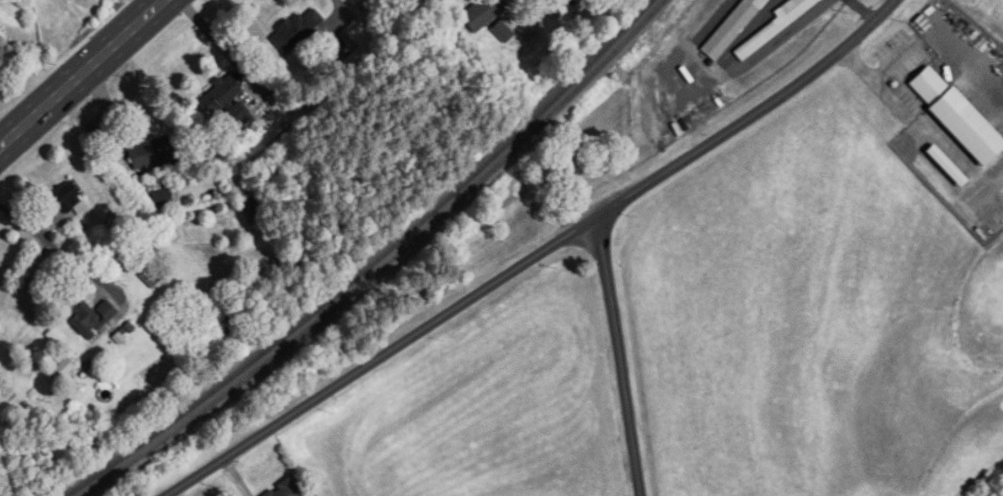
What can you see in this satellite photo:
road: (547, 4)
road: (342, 5)
building: (485, 13)
building: (778, 25)
building: (734, 28)
building: (297, 31)
building: (504, 31)
road: (205, 32)
road: (889, 65)
road: (855, 66)
road: (81, 73)
building: (228, 99)
road: (898, 110)
building: (953, 114)
building: (146, 151)
building: (163, 197)
building: (70, 200)
building: (253, 210)
road: (49, 242)
road: (536, 255)
railway: (371, 264)
railway: (381, 264)
building: (91, 317)
road: (620, 356)
building: (287, 489)

